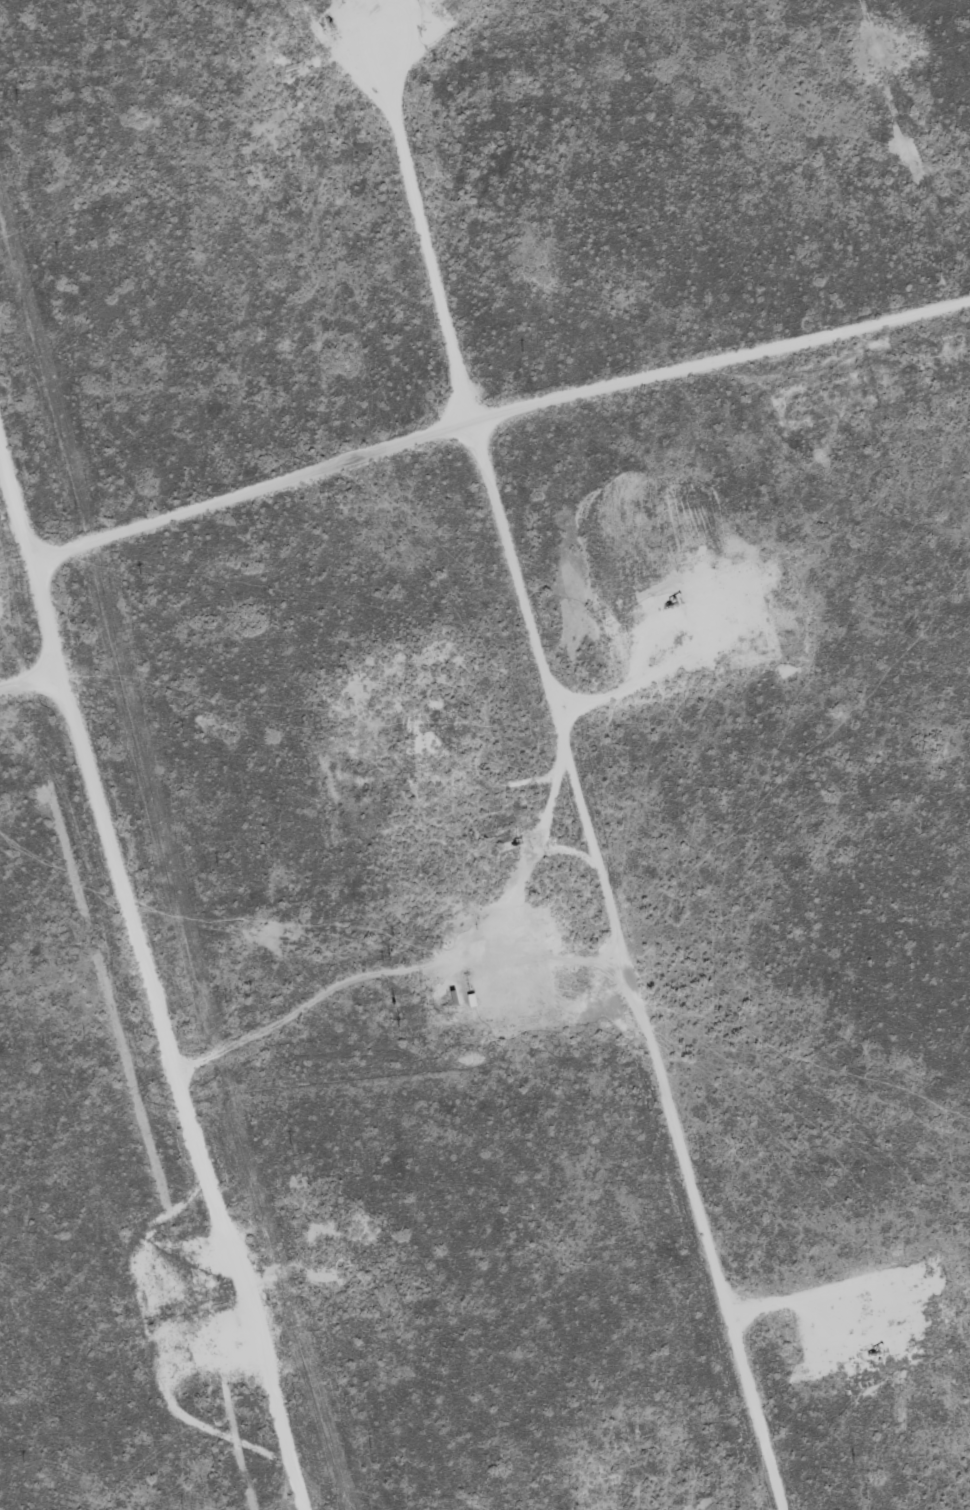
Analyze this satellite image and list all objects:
road: (571, 790)
road: (150, 972)

